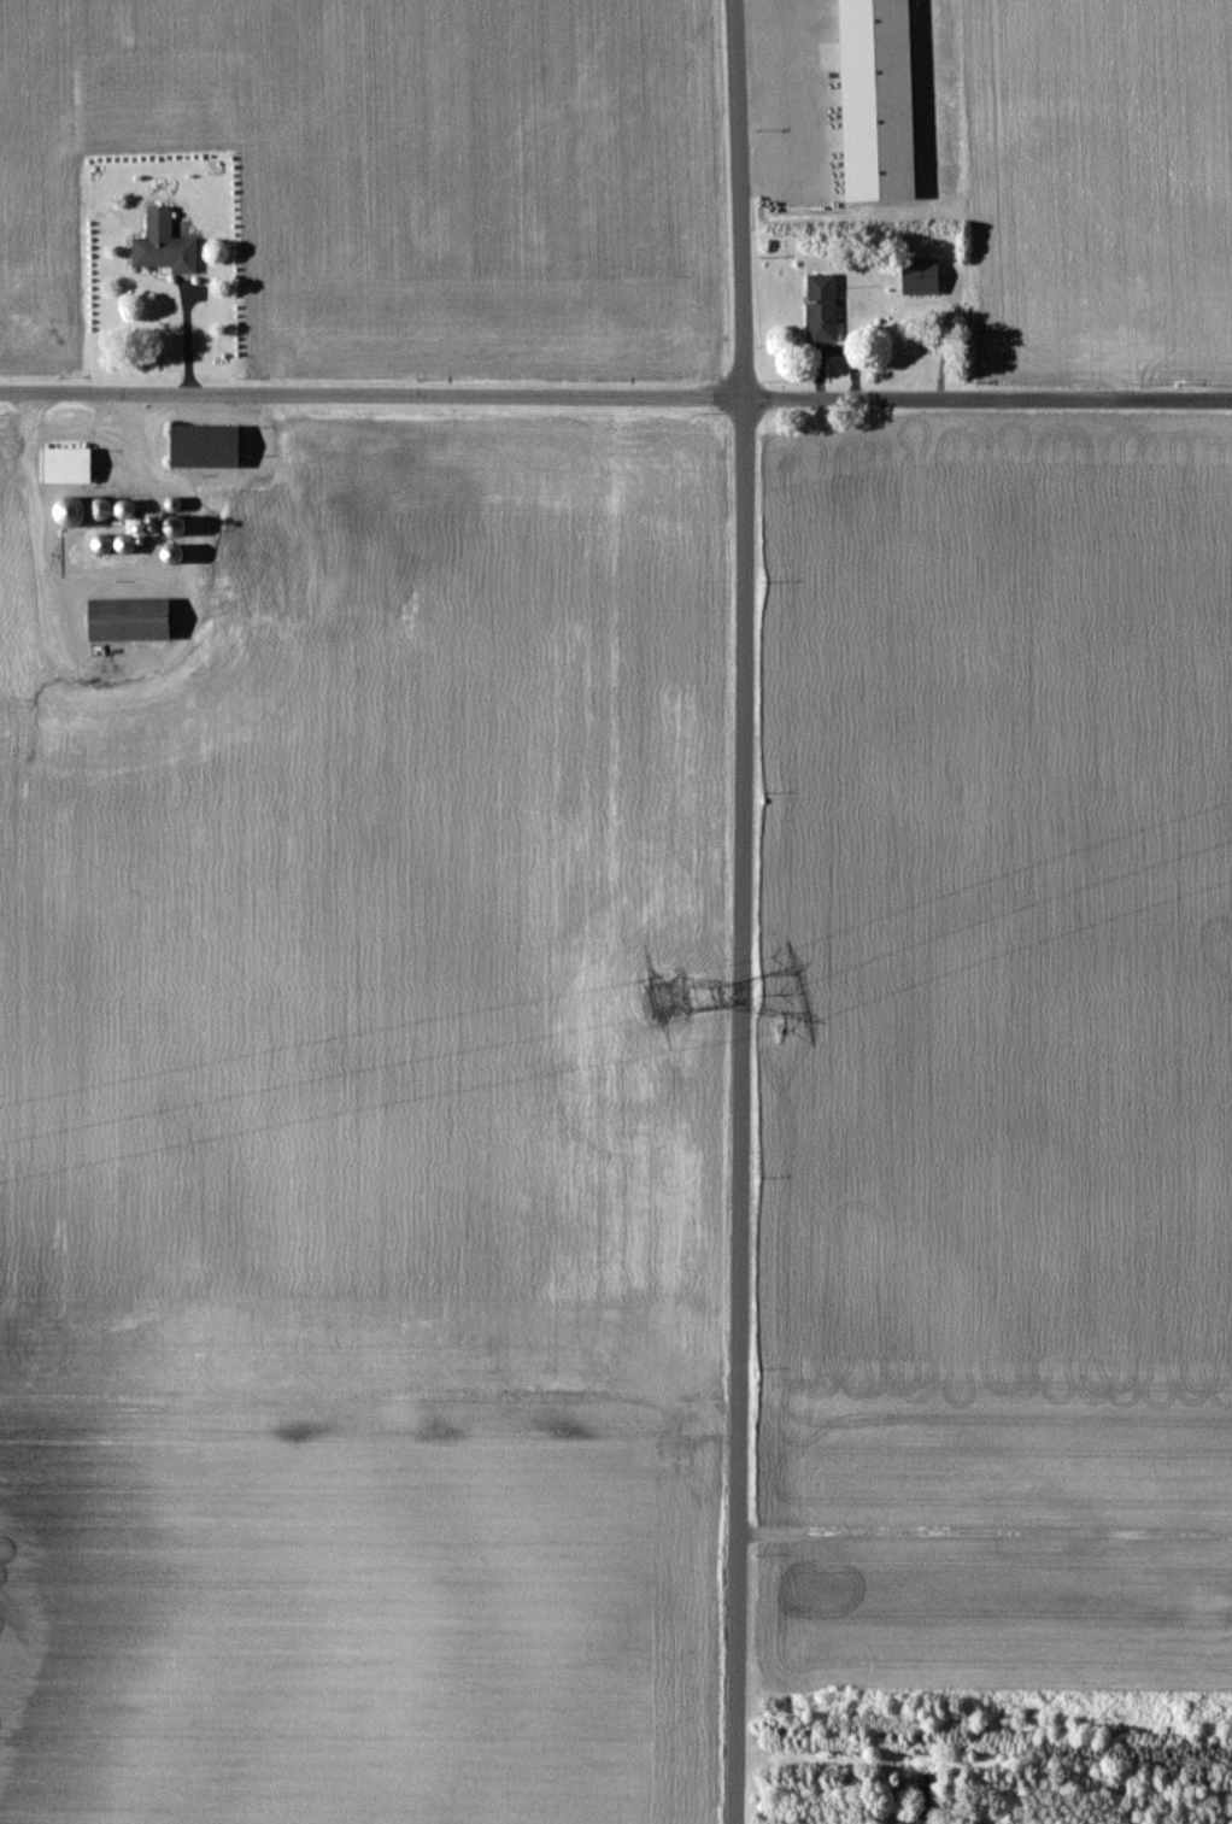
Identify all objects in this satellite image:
building: (163, 242)
building: (921, 275)
building: (822, 306)
road: (616, 388)
road: (83, 429)
building: (207, 445)
building: (69, 464)
road: (270, 469)
building: (72, 510)
building: (117, 510)
building: (177, 526)
building: (104, 544)
building: (127, 544)
building: (210, 552)
building: (275, 571)
building: (131, 618)
road: (139, 662)
road: (743, 911)
power tower: (661, 992)
road: (986, 1529)
building: (928, 1799)

